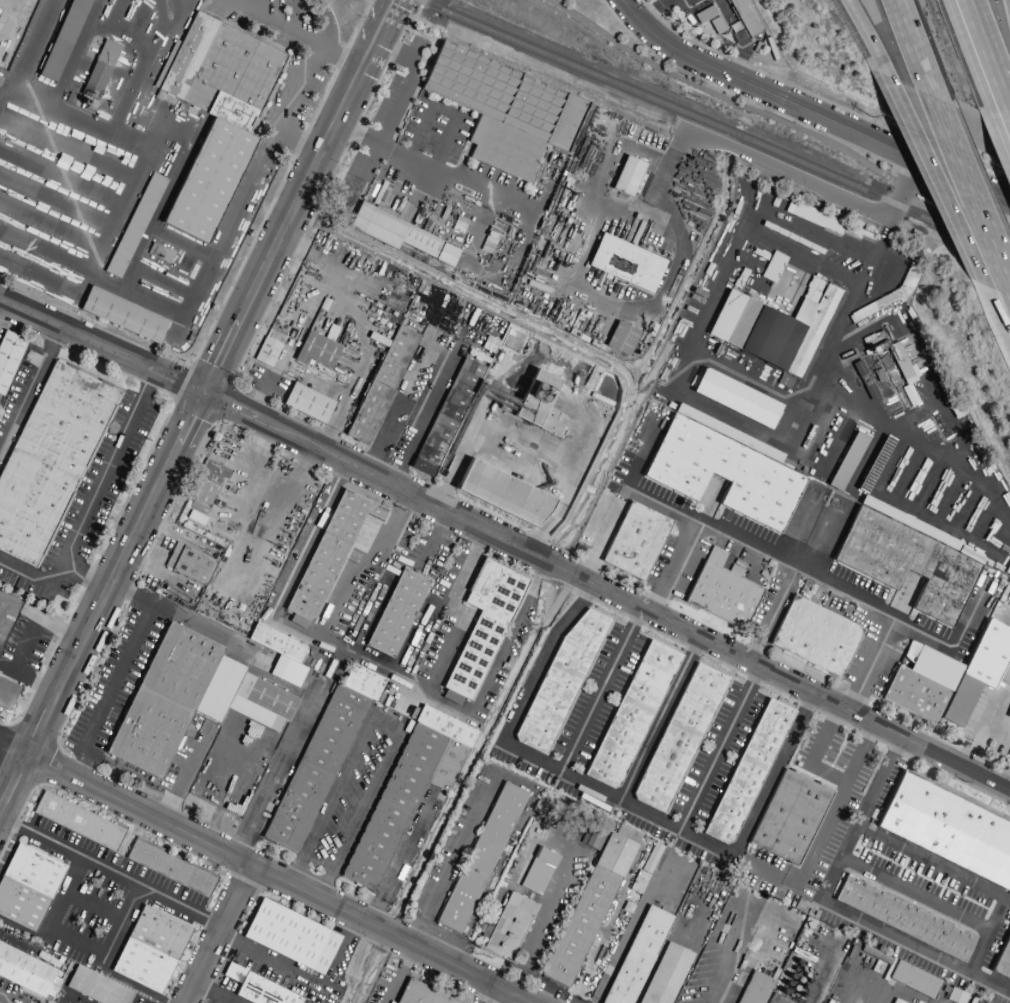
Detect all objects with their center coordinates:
railway: (168, 9)
building: (744, 17)
building: (709, 19)
road: (862, 28)
road: (302, 35)
building: (64, 40)
road: (914, 48)
road: (338, 54)
road: (987, 57)
building: (99, 72)
road: (296, 85)
road: (820, 99)
road: (396, 107)
building: (504, 110)
road: (808, 110)
building: (215, 115)
road: (777, 120)
railway: (715, 125)
road: (298, 140)
road: (409, 163)
road: (670, 170)
road: (934, 172)
building: (627, 177)
road: (971, 187)
road: (817, 188)
building: (814, 218)
building: (135, 226)
road: (804, 226)
building: (392, 231)
building: (445, 255)
building: (626, 263)
road: (184, 309)
road: (998, 314)
building: (123, 315)
building: (776, 329)
building: (275, 334)
building: (622, 339)
road: (448, 344)
building: (317, 351)
building: (267, 352)
building: (10, 359)
road: (727, 366)
building: (904, 373)
building: (381, 386)
road: (28, 389)
building: (535, 398)
building: (736, 399)
building: (308, 403)
road: (198, 407)
building: (549, 415)
building: (447, 417)
road: (528, 434)
building: (51, 460)
building: (847, 462)
building: (875, 465)
building: (724, 469)
building: (207, 485)
building: (503, 494)
road: (90, 504)
road: (672, 511)
building: (636, 541)
road: (831, 541)
road: (601, 542)
road: (506, 546)
building: (328, 556)
building: (908, 559)
building: (189, 564)
road: (367, 570)
road: (846, 589)
building: (722, 592)
building: (1008, 608)
road: (455, 613)
building: (396, 614)
road: (276, 618)
road: (773, 619)
road: (634, 620)
building: (483, 626)
building: (815, 637)
building: (282, 656)
road: (496, 664)
road: (872, 666)
road: (119, 671)
building: (947, 678)
building: (561, 680)
building: (7, 693)
road: (529, 693)
building: (189, 699)
building: (632, 715)
building: (1008, 716)
road: (662, 722)
road: (386, 723)
road: (986, 726)
road: (998, 733)
building: (679, 739)
road: (722, 751)
building: (321, 758)
road: (277, 771)
building: (748, 773)
road: (830, 773)
road: (879, 782)
building: (402, 794)
road: (656, 816)
building: (791, 817)
building: (78, 822)
building: (949, 829)
road: (126, 842)
road: (924, 856)
road: (451, 857)
road: (401, 858)
building: (481, 858)
building: (171, 867)
road: (108, 868)
building: (539, 871)
road: (263, 873)
road: (776, 876)
building: (27, 887)
building: (590, 907)
road: (853, 915)
building: (906, 919)
road: (541, 921)
building: (510, 926)
road: (989, 935)
road: (221, 936)
building: (291, 937)
road: (75, 942)
building: (151, 950)
building: (638, 956)
building: (1003, 962)
building: (27, 972)
road: (401, 974)
building: (665, 975)
building: (913, 979)
road: (306, 982)
road: (720, 983)
building: (96, 988)
building: (258, 988)
building: (753, 988)
building: (420, 994)
road: (495, 996)
building: (957, 997)
building: (775, 999)
building: (893, 1001)

